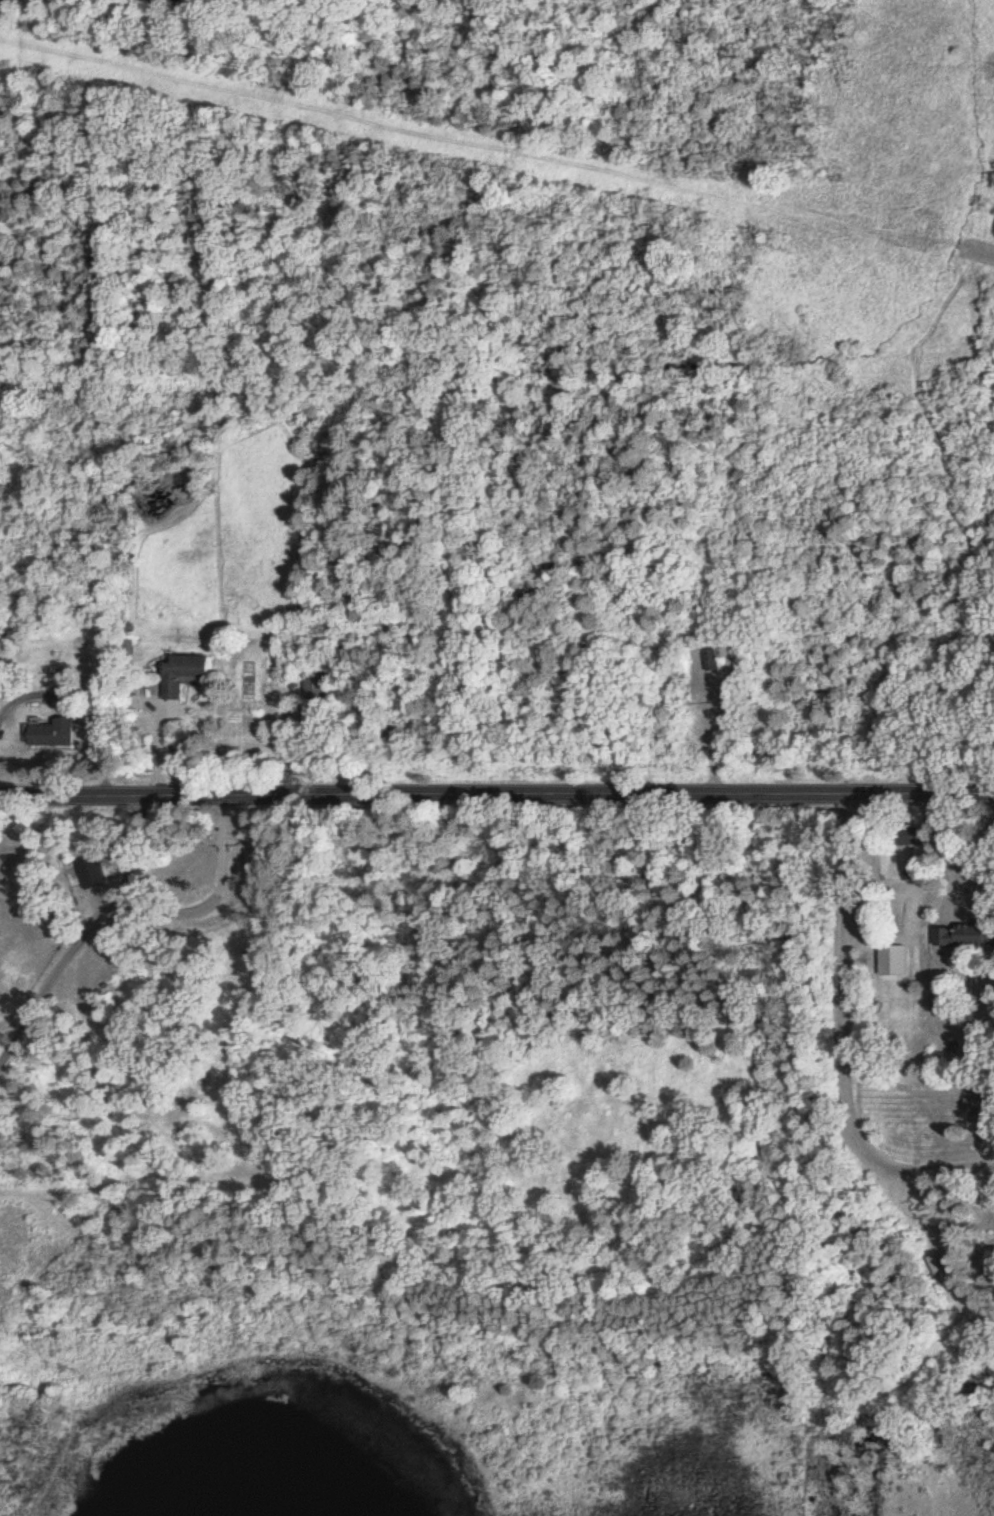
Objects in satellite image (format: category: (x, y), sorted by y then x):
building: (717, 661)
building: (189, 675)
building: (318, 687)
road: (708, 728)
building: (56, 736)
road: (497, 798)
road: (948, 872)
road: (124, 915)
building: (967, 936)
road: (842, 1040)
building: (979, 1107)

